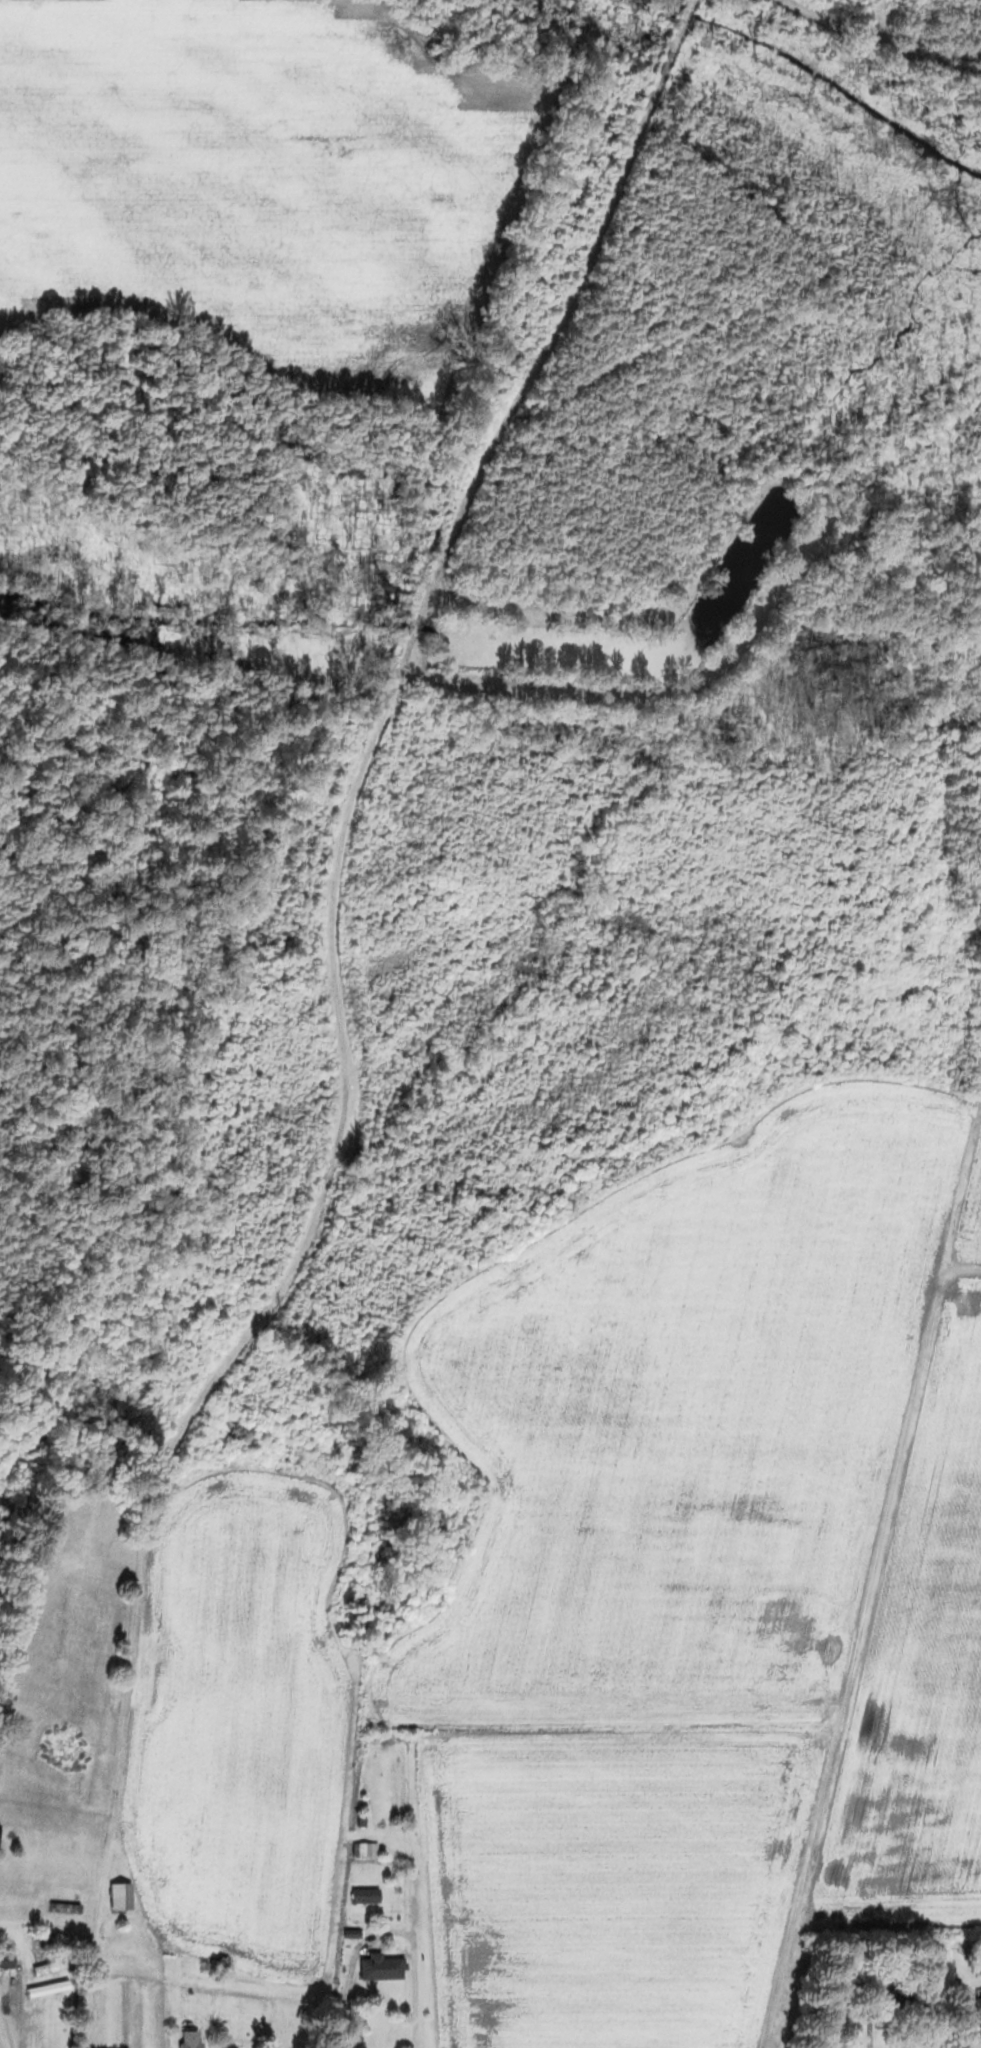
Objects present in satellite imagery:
building: (65, 1845)
building: (362, 1848)
building: (362, 1894)
building: (117, 1895)
building: (5, 1958)
building: (377, 1966)
building: (969, 2002)
building: (187, 2038)

